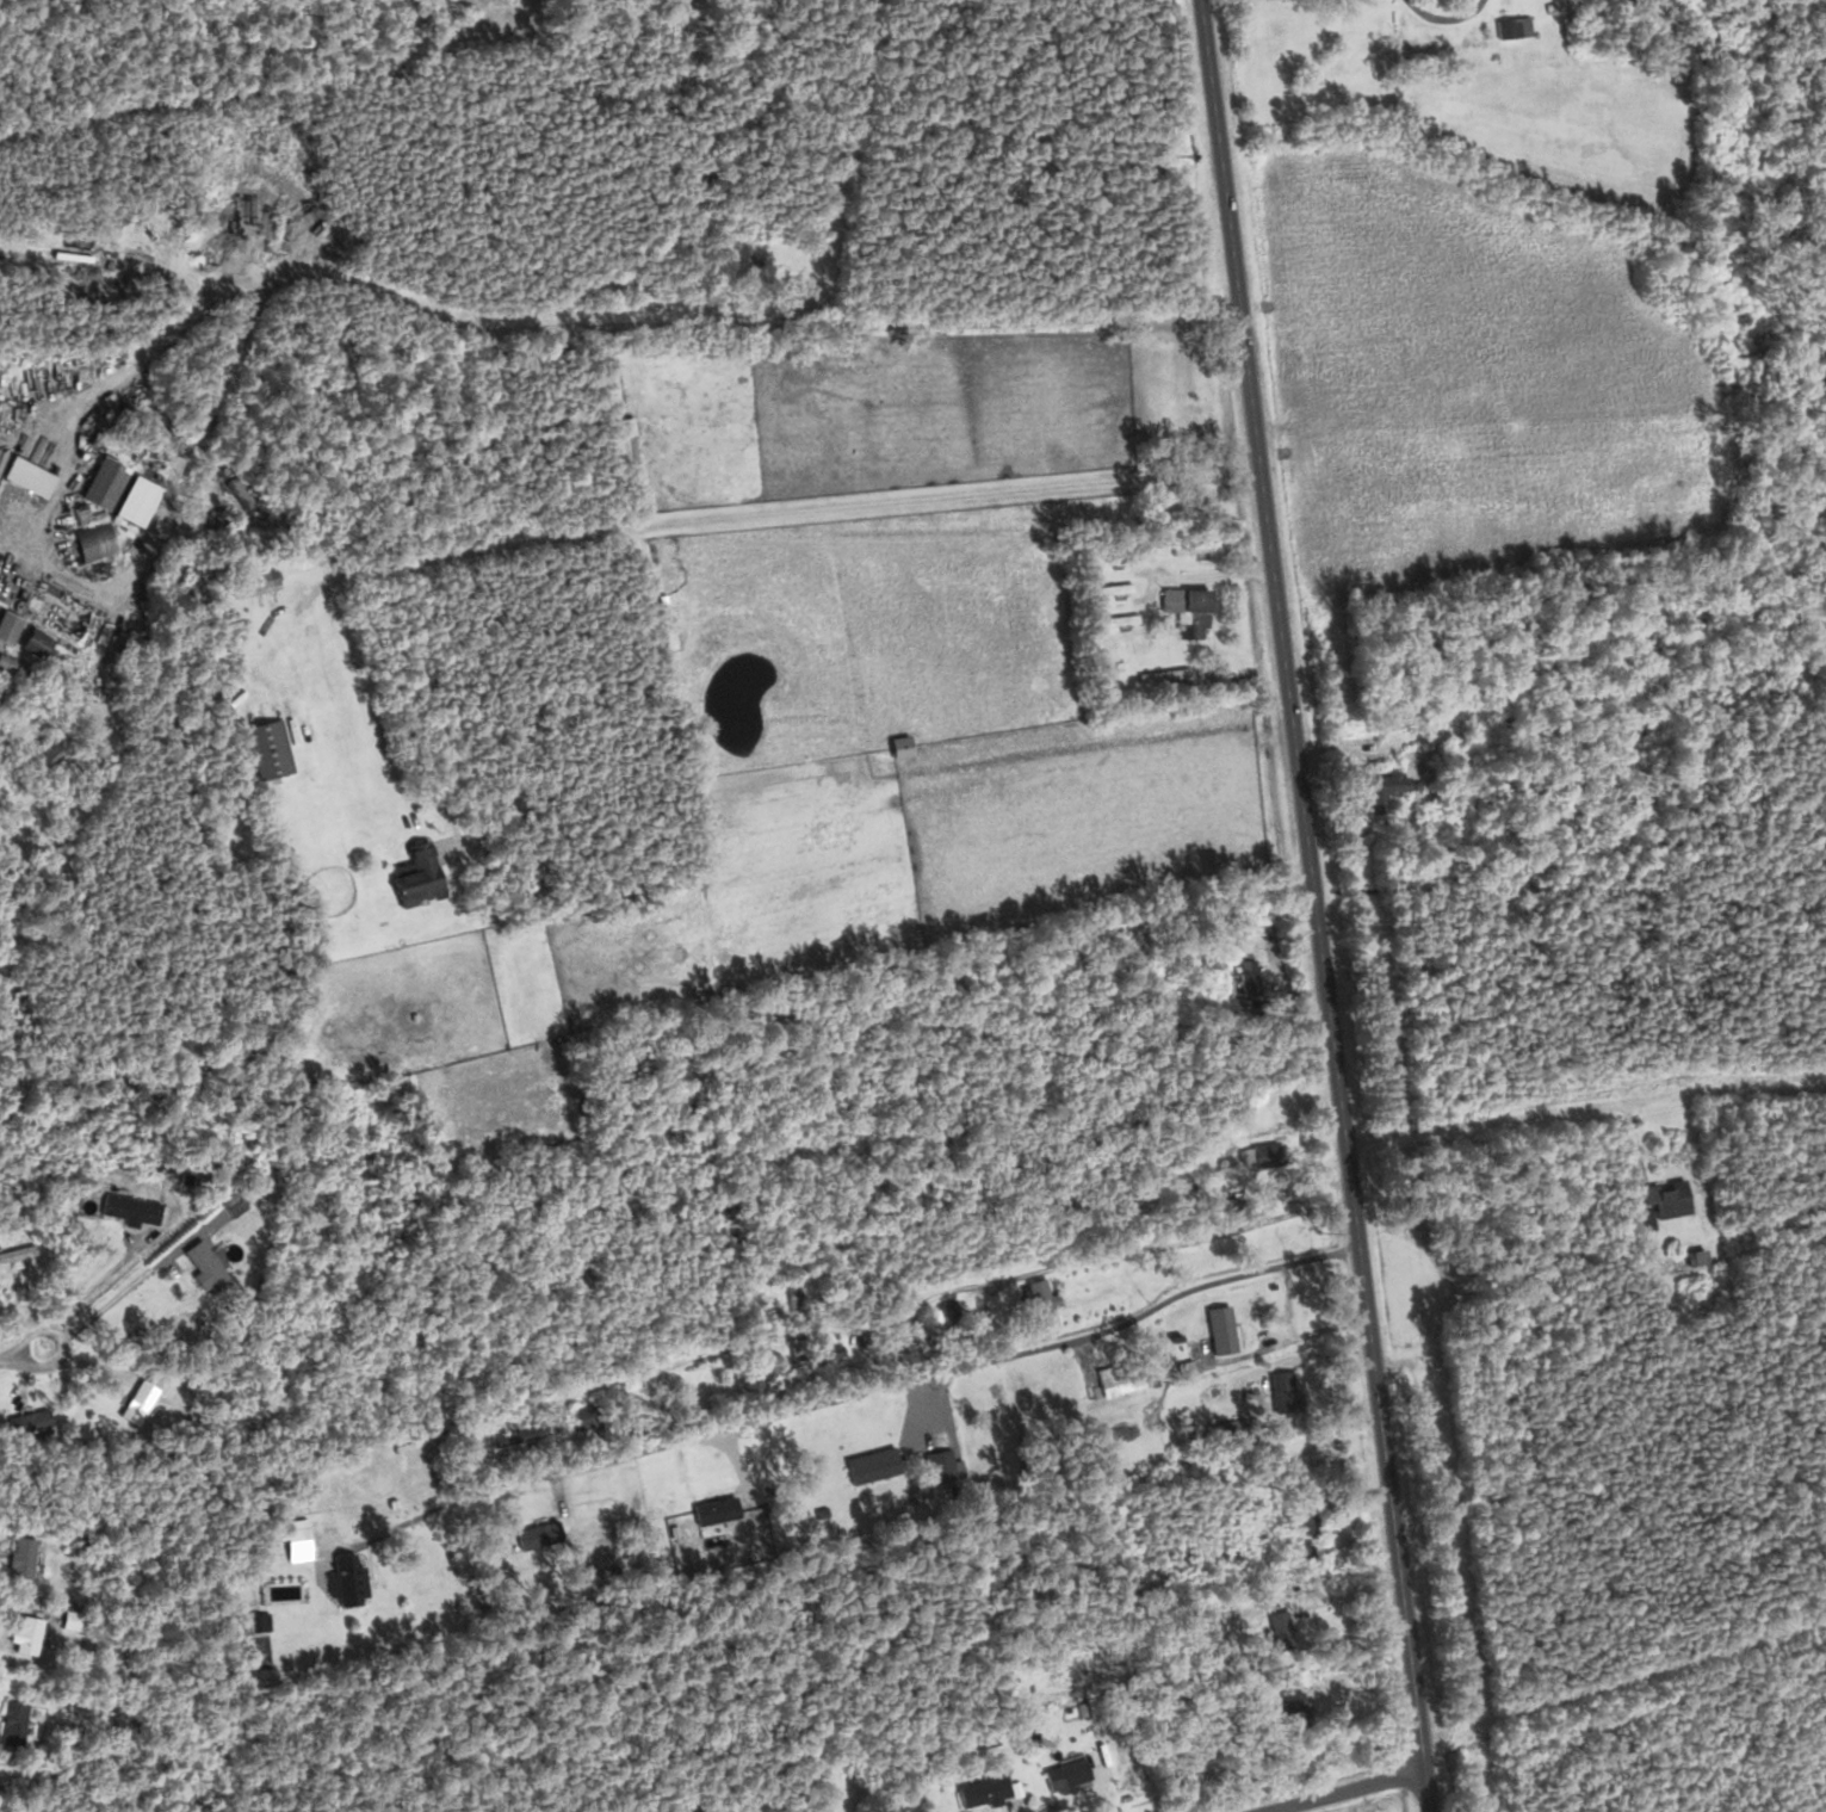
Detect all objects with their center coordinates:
building: (1512, 27)
building: (1190, 414)
building: (624, 427)
building: (97, 484)
road: (683, 521)
building: (1191, 546)
building: (1104, 558)
road: (1181, 576)
building: (249, 585)
building: (1108, 587)
building: (1184, 610)
building: (1113, 619)
building: (4, 626)
building: (25, 643)
building: (1401, 721)
building: (897, 746)
building: (264, 747)
building: (1375, 790)
building: (411, 874)
road: (1316, 905)
building: (1245, 976)
building: (1264, 1155)
building: (1659, 1200)
building: (125, 1208)
building: (14, 1251)
building: (1692, 1258)
building: (199, 1264)
building: (1660, 1294)
building: (943, 1309)
building: (1042, 1316)
building: (1287, 1317)
building: (1218, 1328)
road: (21, 1350)
building: (815, 1350)
building: (1121, 1378)
building: (1279, 1389)
road: (848, 1394)
building: (143, 1404)
building: (24, 1422)
building: (516, 1435)
building: (937, 1464)
building: (867, 1465)
building: (534, 1534)
building: (1299, 1535)
building: (17, 1559)
building: (340, 1576)
building: (252, 1621)
building: (1275, 1628)
building: (21, 1634)
building: (1290, 1707)
building: (10, 1723)
building: (1064, 1774)
building: (980, 1789)
road: (1339, 1789)

